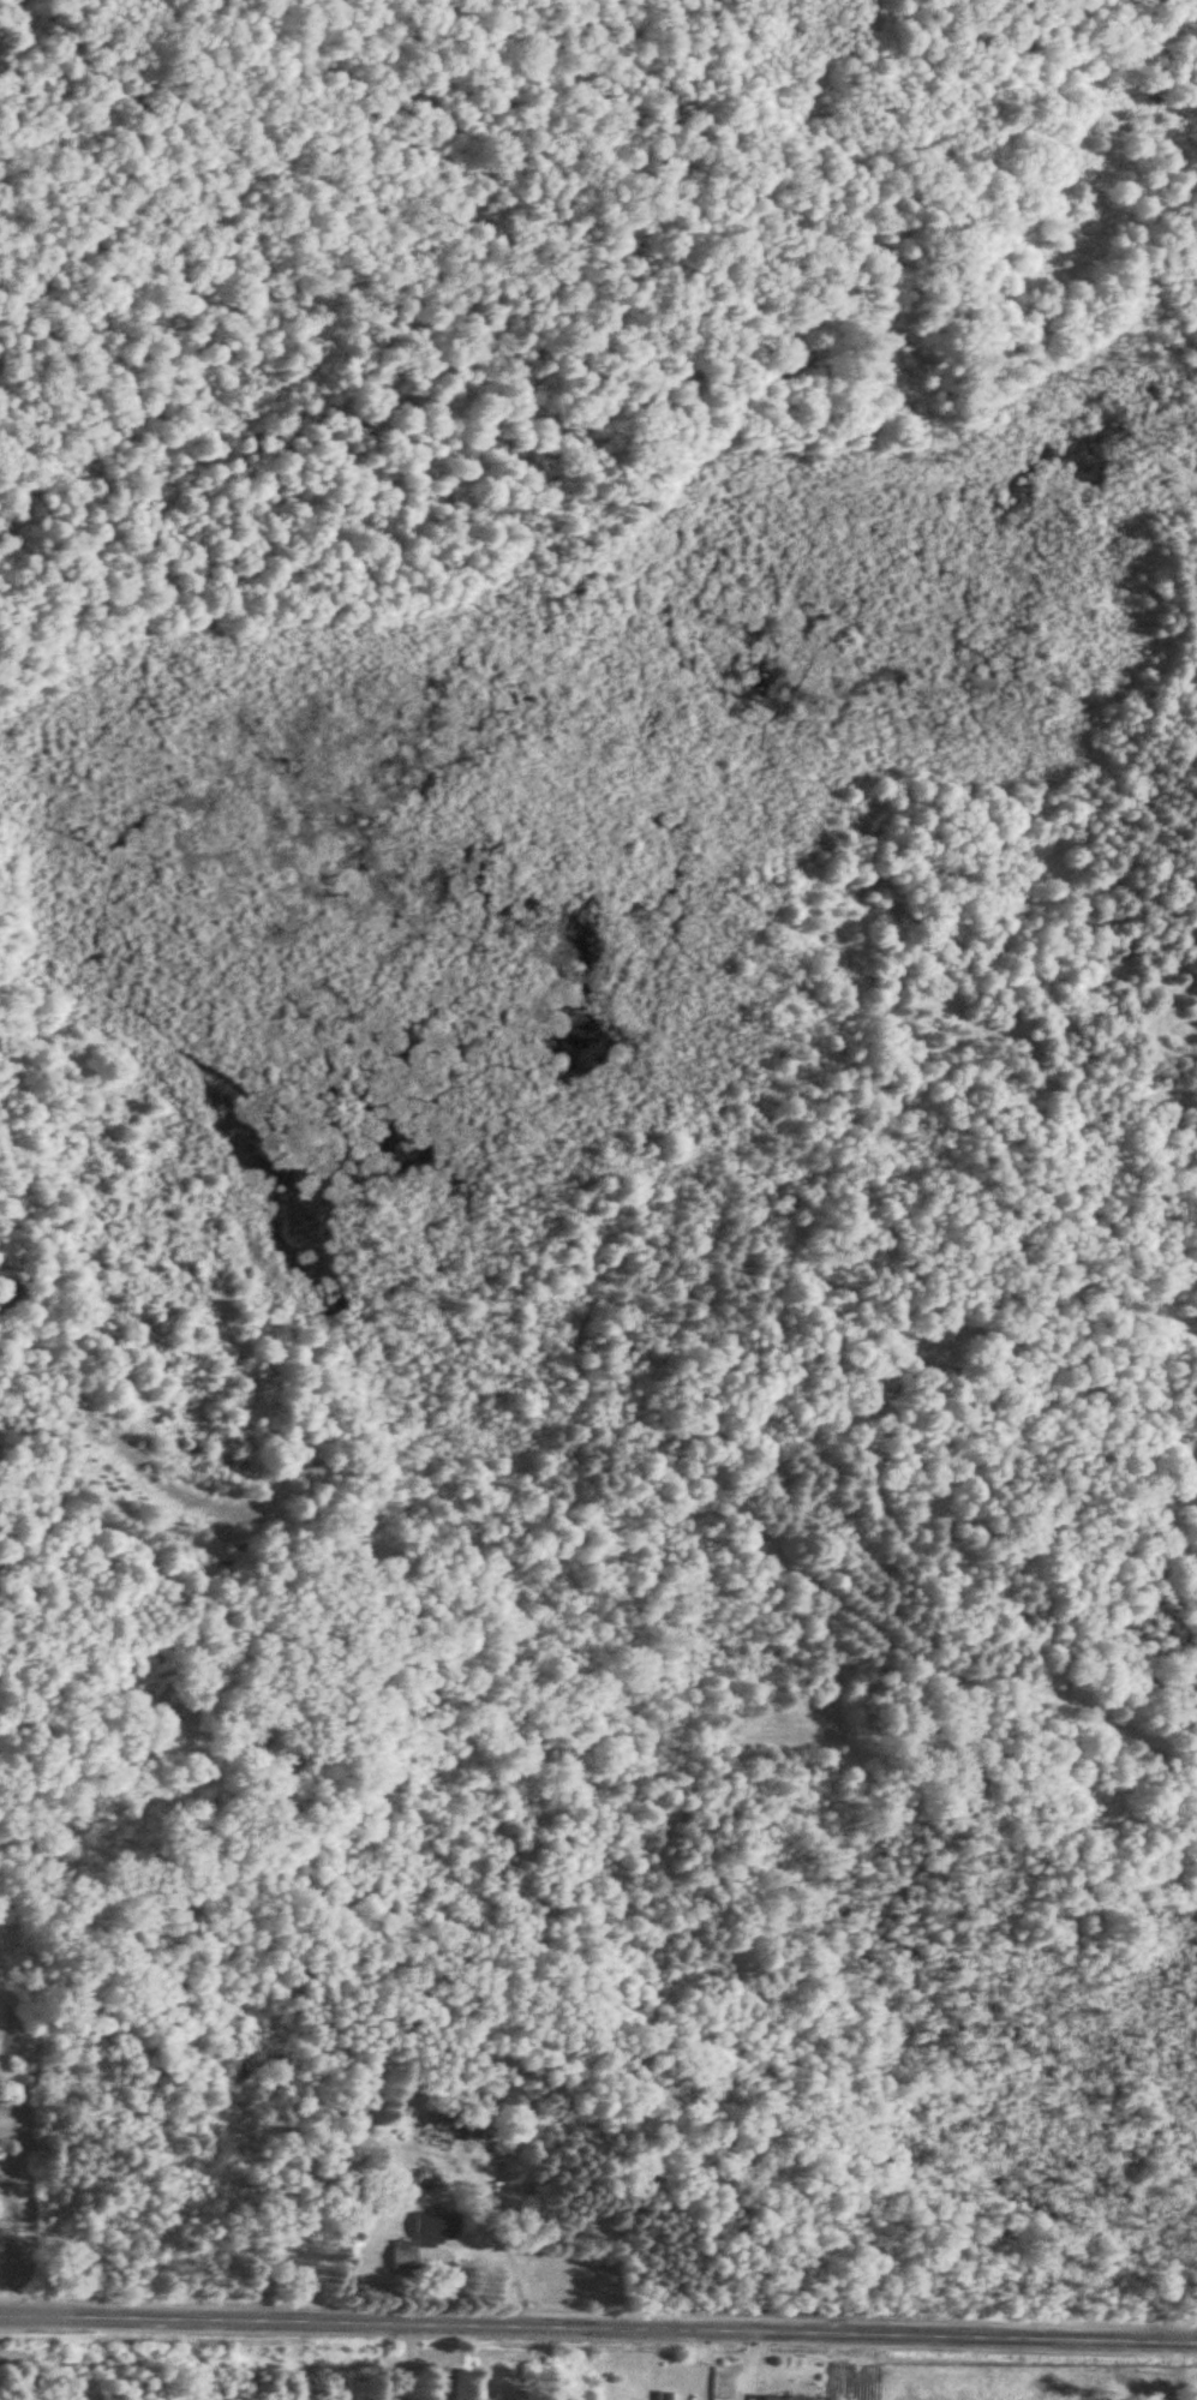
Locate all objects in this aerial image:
building: (460, 2127)
building: (436, 2227)
building: (405, 2260)
road: (22, 2315)
road: (620, 2329)
road: (42, 2358)
building: (664, 2395)
building: (786, 2398)

